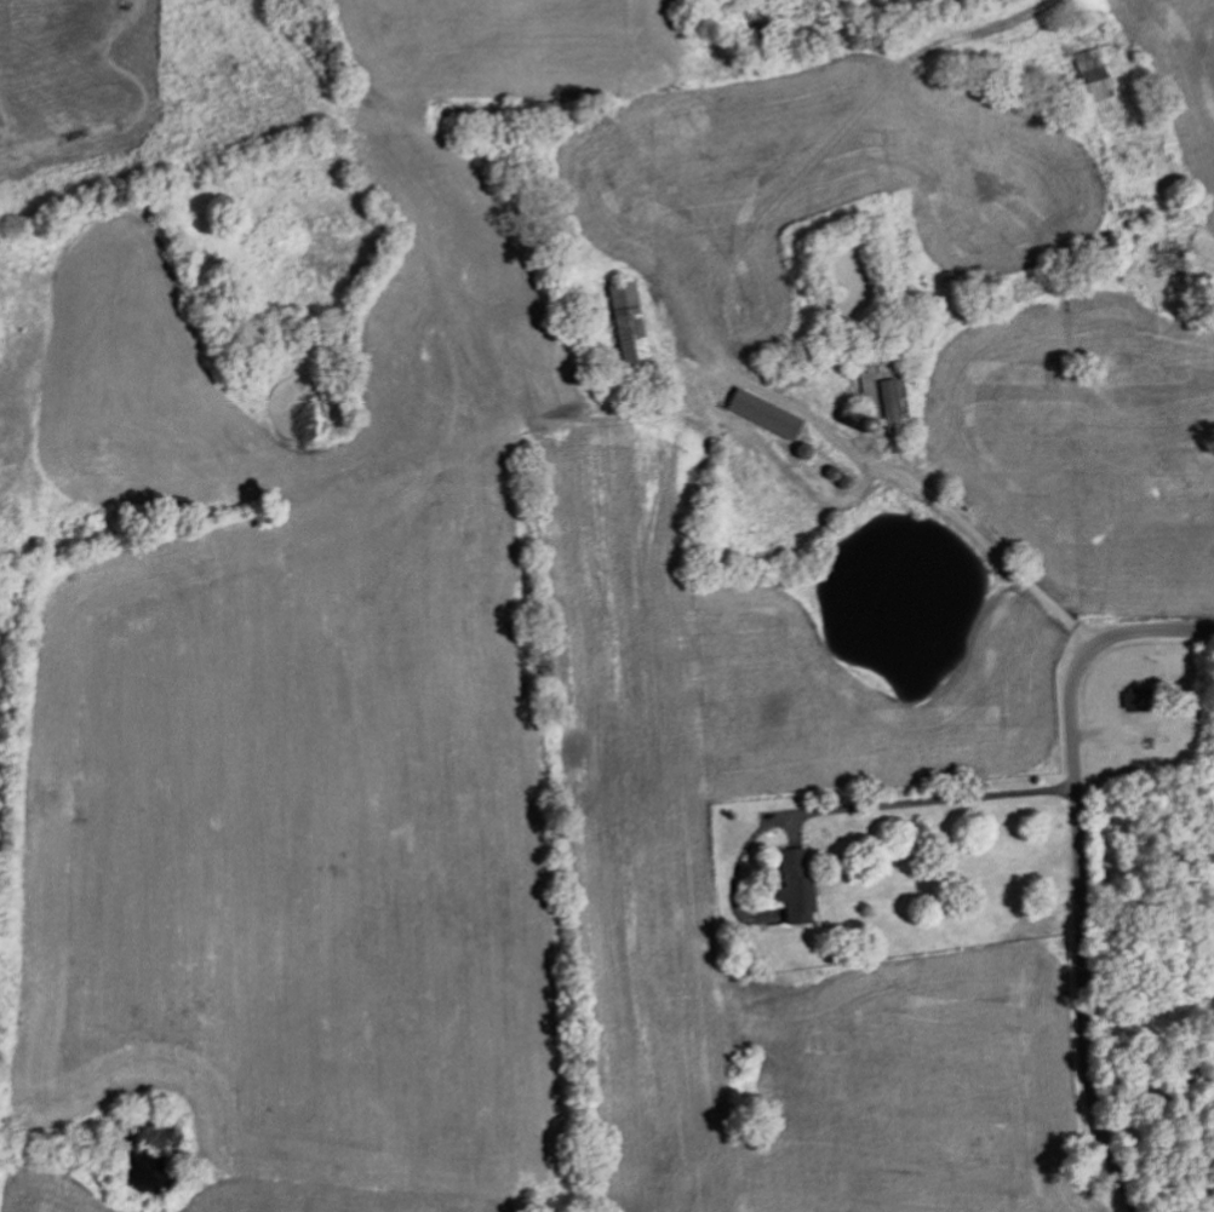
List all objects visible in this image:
building: (1092, 74)
building: (626, 326)
building: (889, 398)
building: (762, 414)
road: (977, 532)
building: (1134, 699)
road: (934, 799)
road: (1078, 863)
building: (794, 884)

